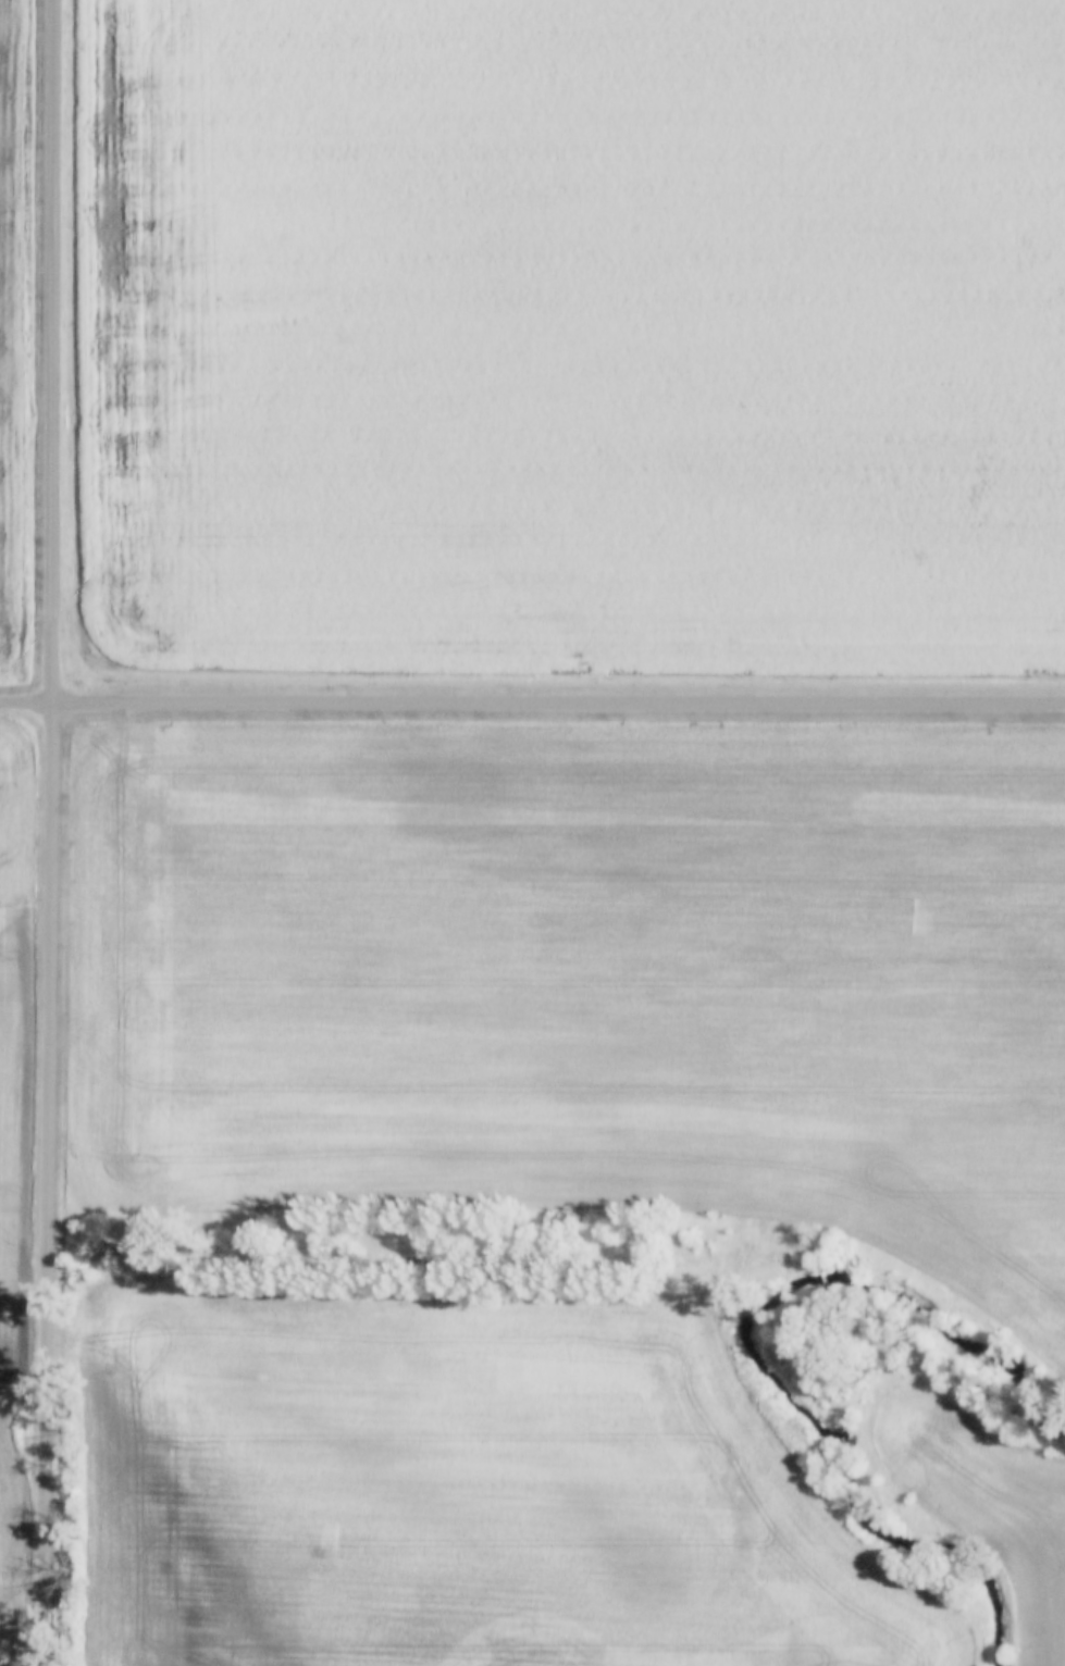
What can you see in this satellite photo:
road: (532, 704)
road: (51, 833)

